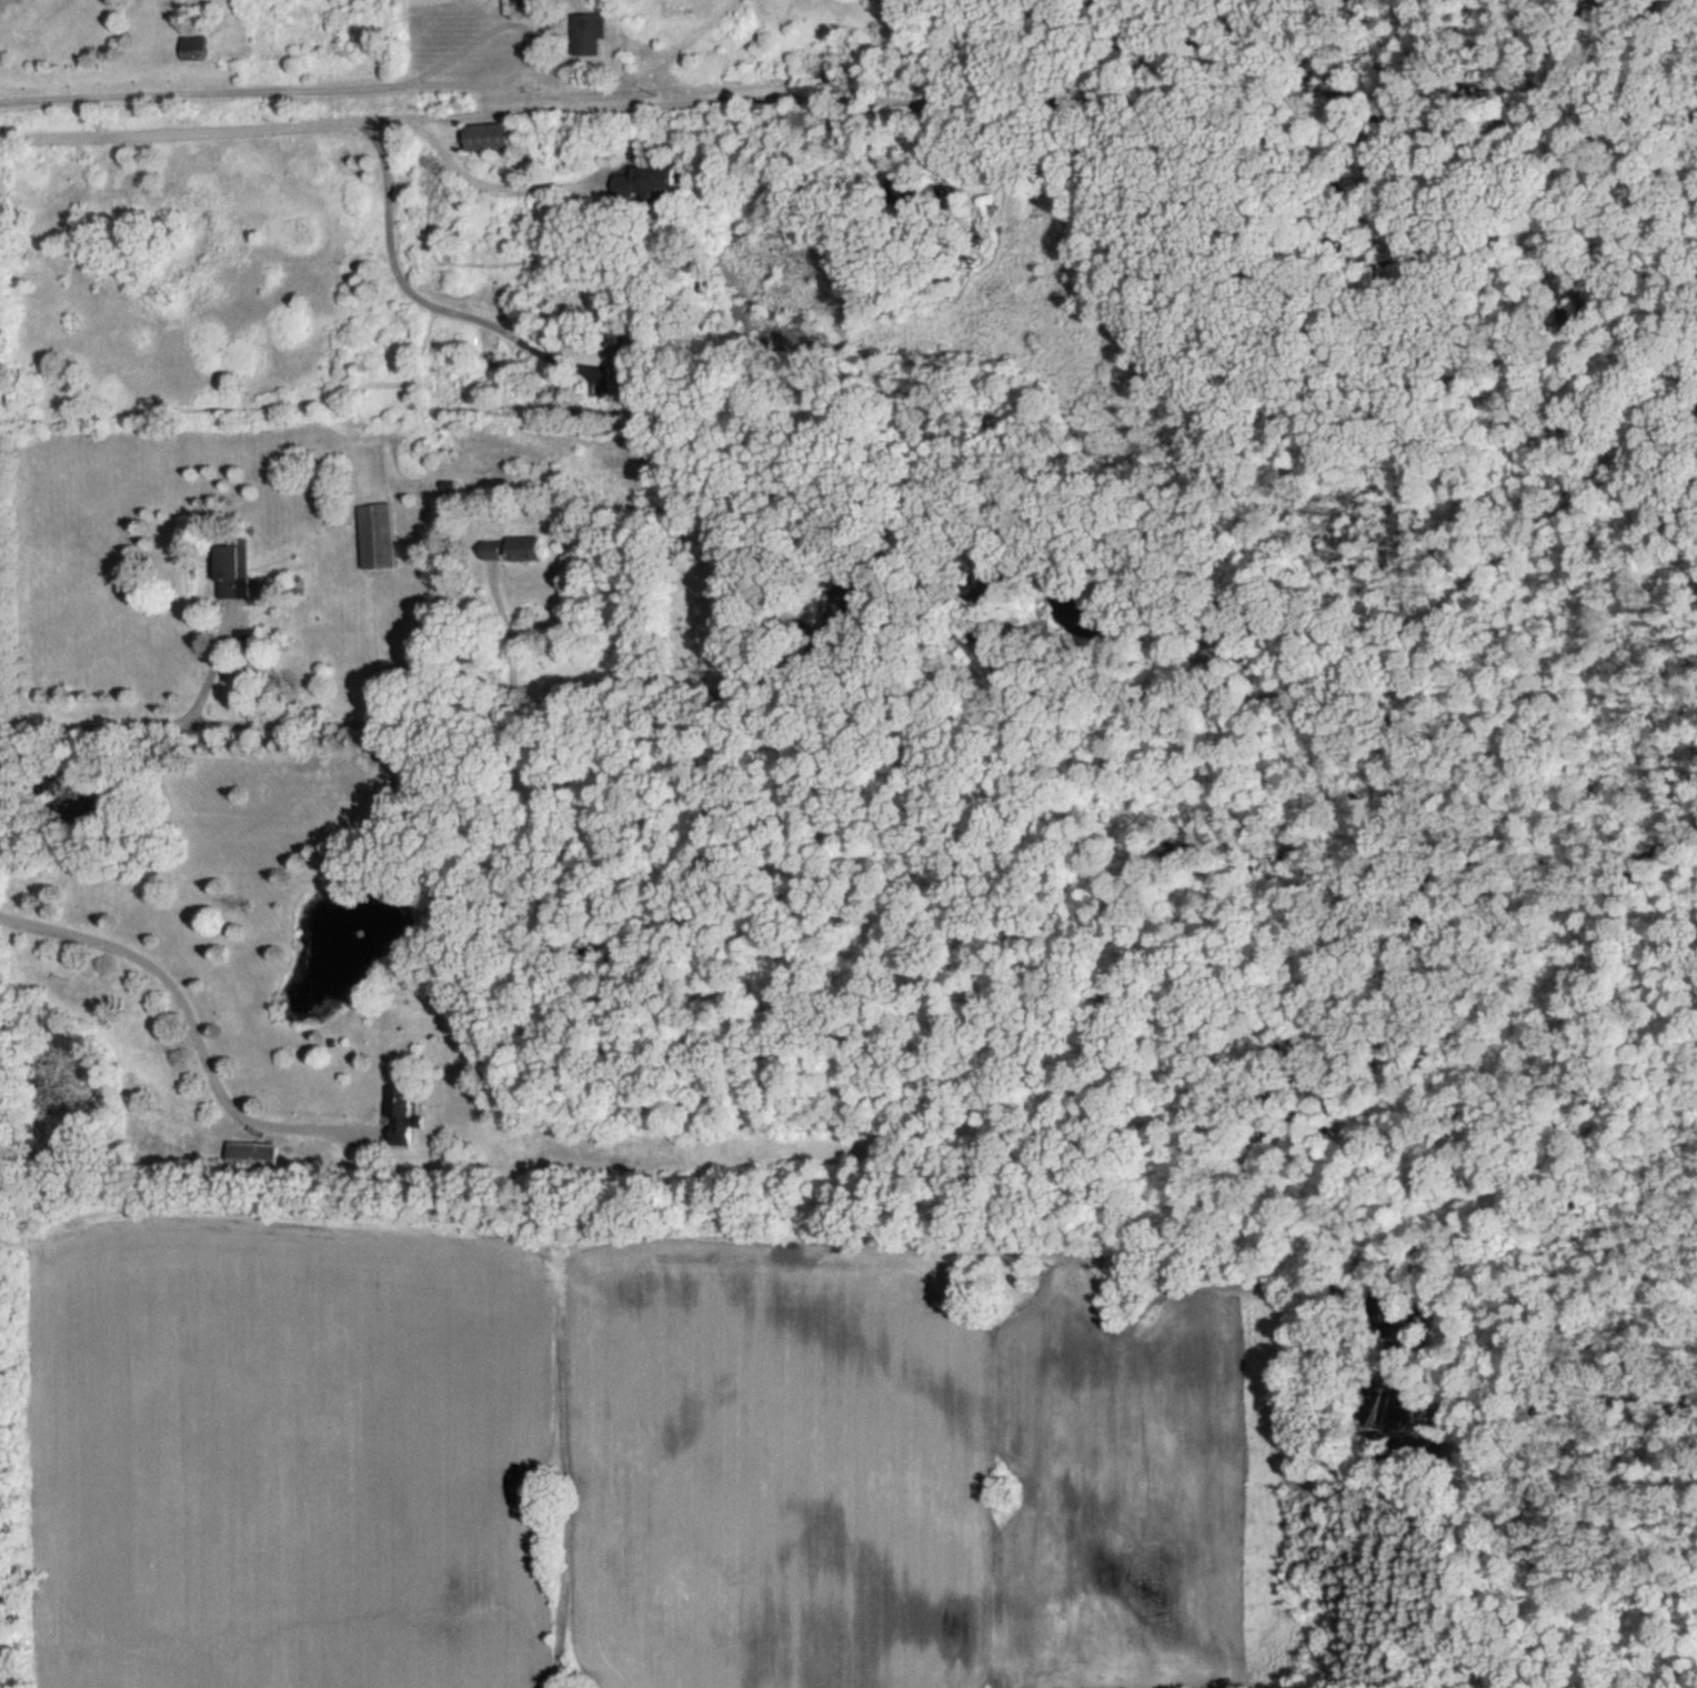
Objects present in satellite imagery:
building: (591, 32)
road: (531, 40)
building: (195, 47)
road: (200, 91)
road: (448, 109)
building: (490, 135)
road: (493, 179)
building: (645, 180)
road: (400, 271)
building: (616, 355)
building: (375, 535)
building: (513, 547)
building: (233, 573)
road: (510, 644)
road: (210, 671)
road: (886, 703)
road: (190, 1011)
building: (401, 1111)
building: (254, 1156)

